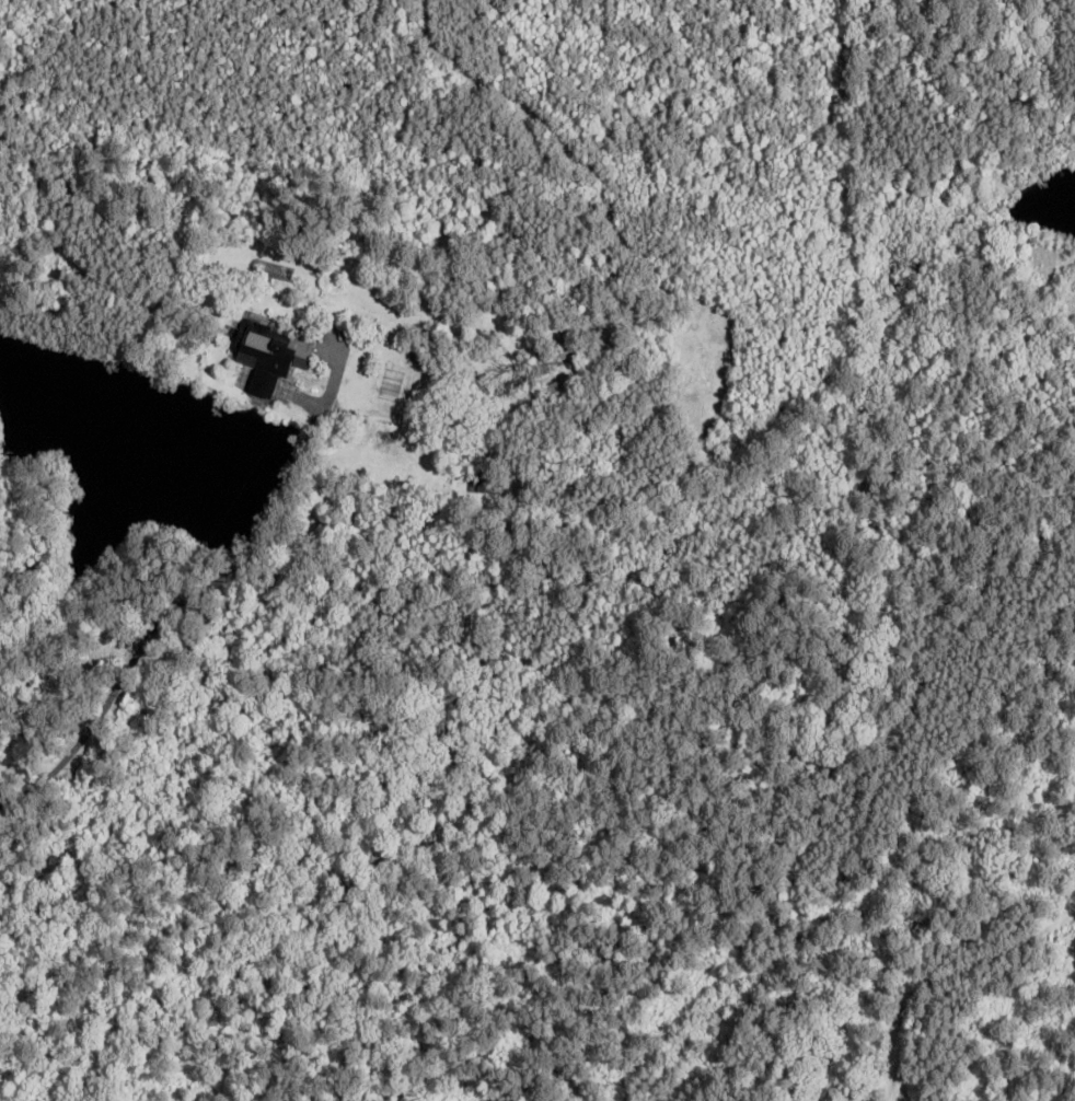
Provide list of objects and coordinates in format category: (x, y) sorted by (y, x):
building: (574, 350)
building: (266, 355)
building: (563, 389)
road: (209, 591)

